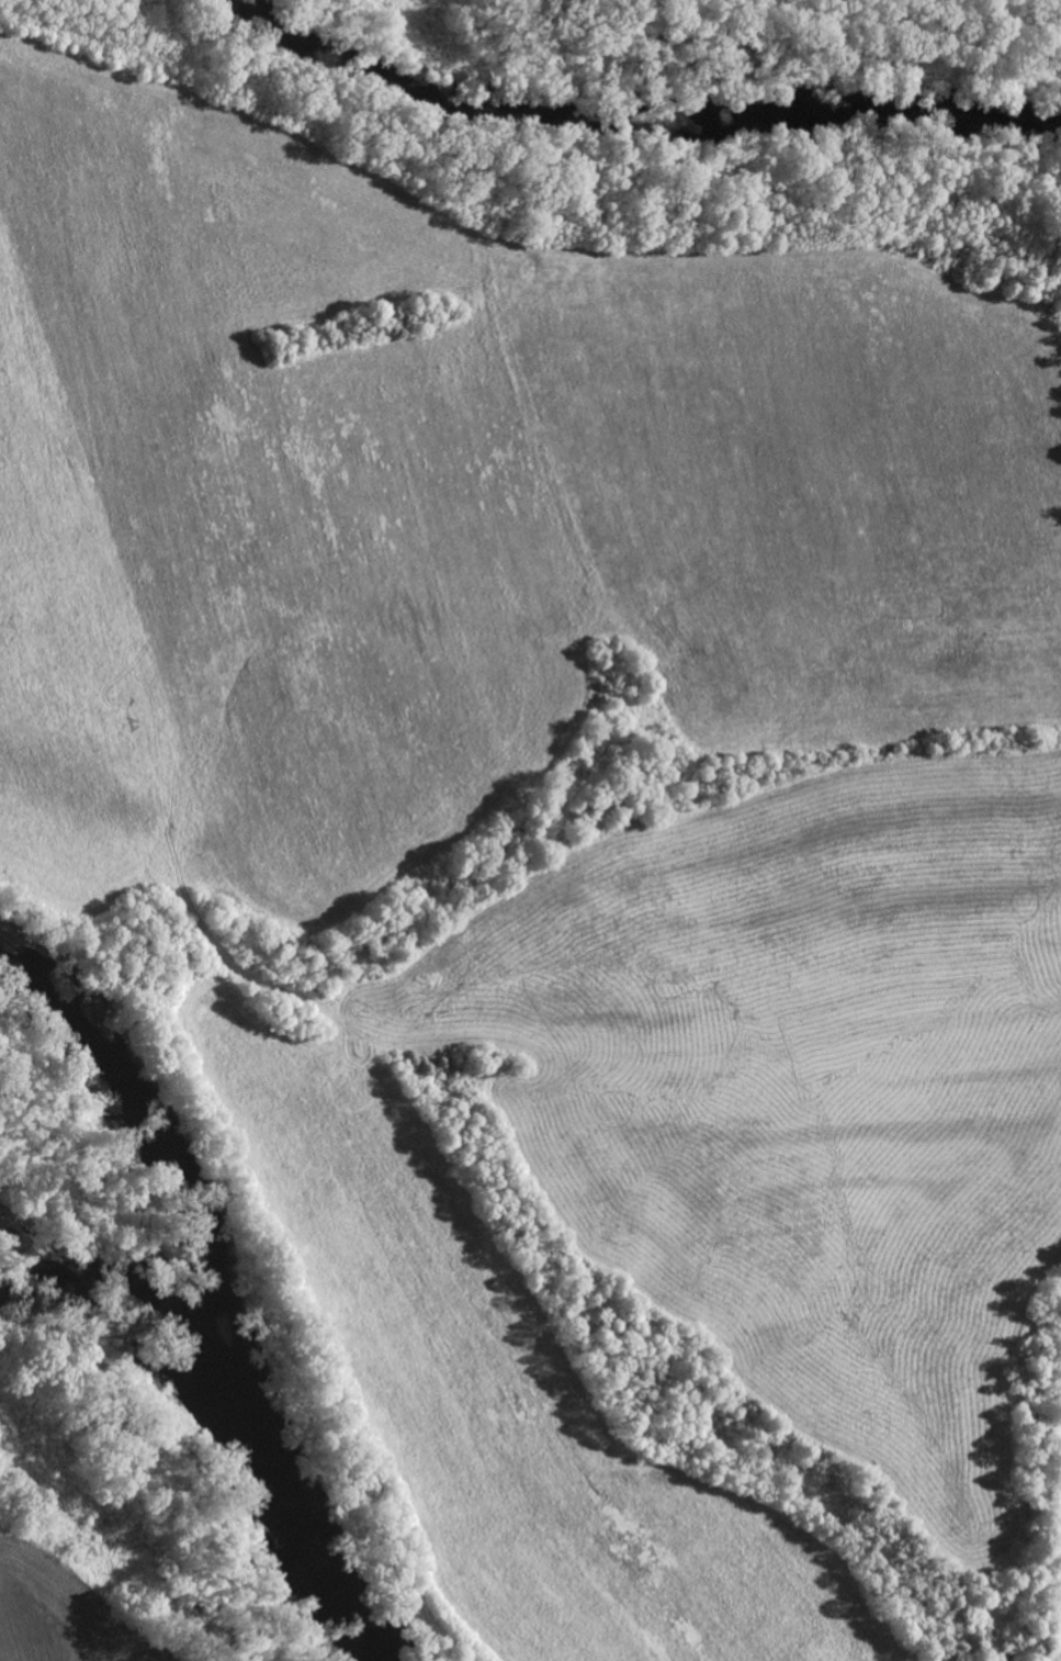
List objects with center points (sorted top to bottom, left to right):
river: (212, 1292)

